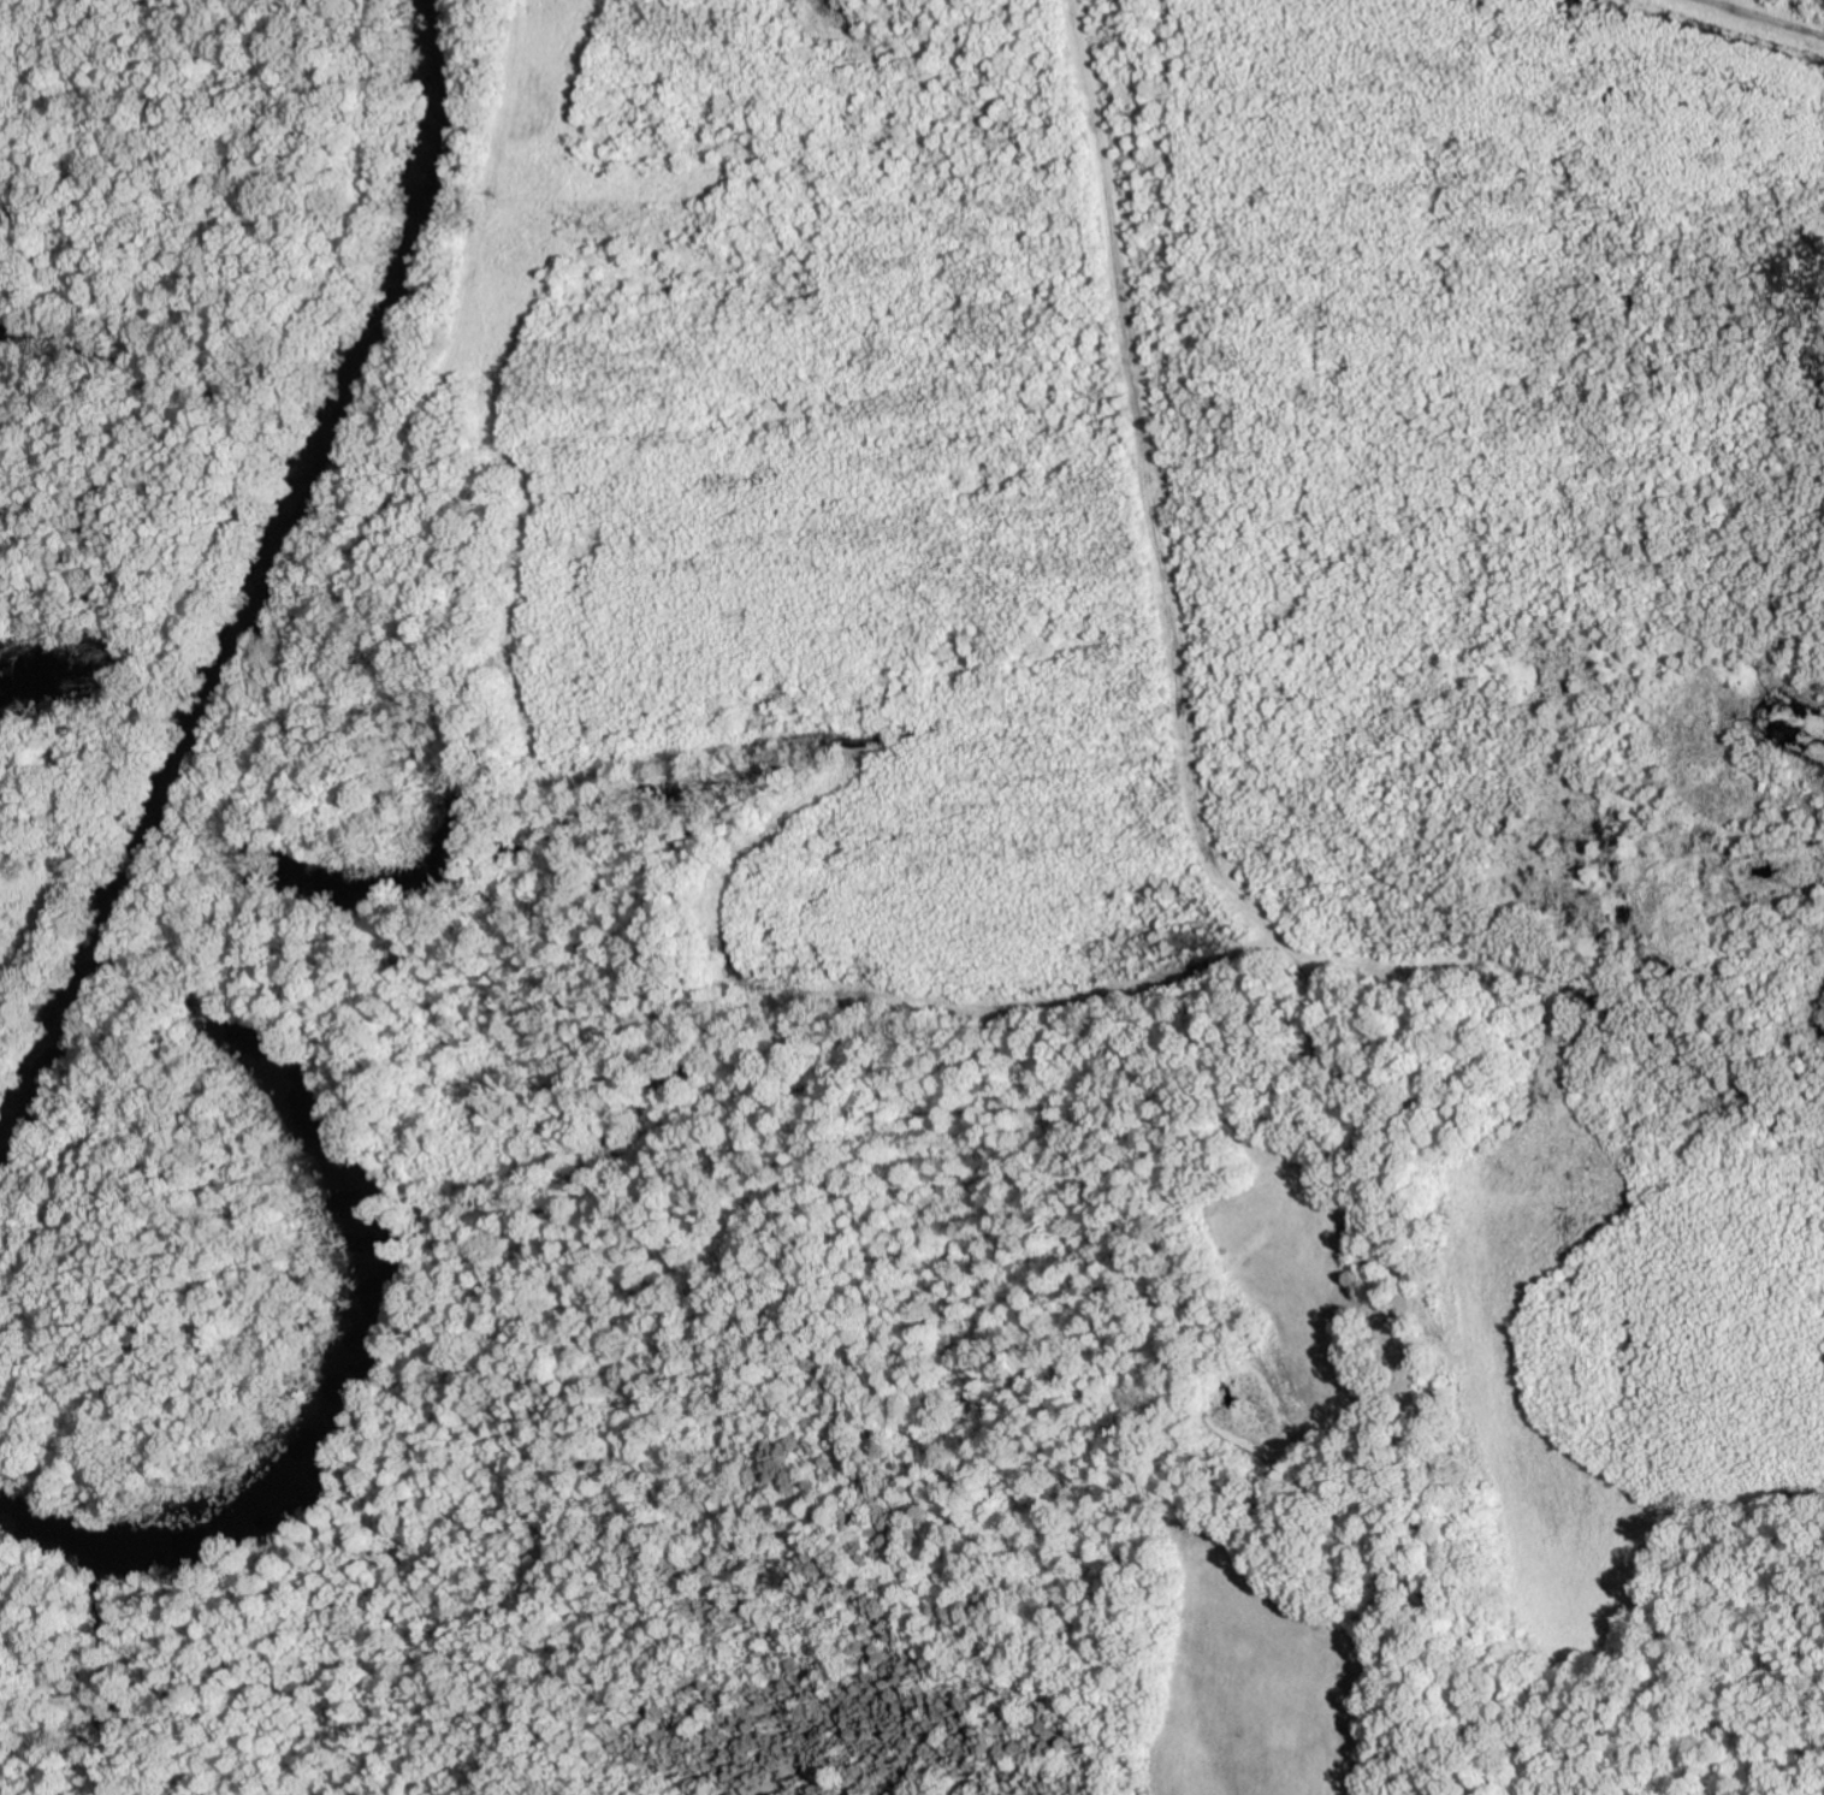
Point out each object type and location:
river: (260, 580)
road: (1218, 917)

